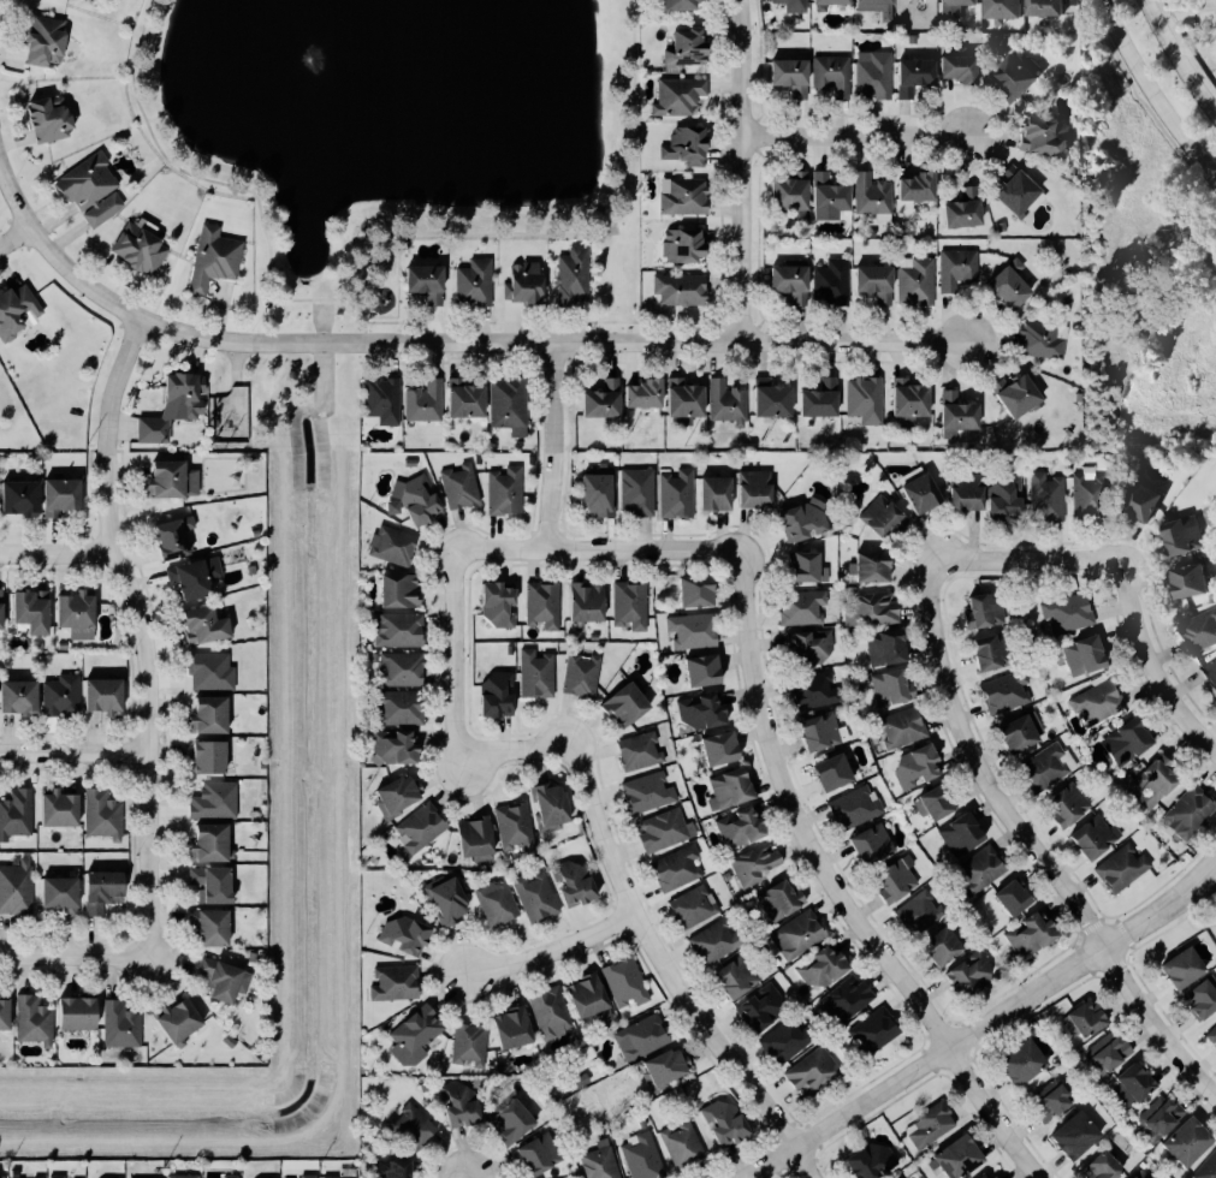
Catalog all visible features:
building: (836, 2)
building: (879, 4)
building: (797, 5)
building: (678, 6)
building: (957, 7)
building: (1048, 7)
building: (1007, 8)
building: (49, 42)
building: (692, 48)
fountain: (312, 58)
road: (1178, 59)
building: (963, 69)
building: (921, 72)
building: (836, 75)
building: (1020, 75)
building: (795, 76)
building: (877, 76)
road: (1151, 96)
building: (681, 97)
road: (635, 113)
building: (53, 121)
building: (1046, 137)
road: (858, 141)
building: (689, 148)
road: (182, 169)
road: (743, 169)
building: (867, 188)
building: (920, 189)
building: (1015, 189)
building: (95, 191)
building: (795, 194)
building: (687, 198)
building: (832, 198)
building: (967, 212)
road: (611, 225)
building: (1002, 227)
road: (453, 232)
road: (12, 238)
building: (687, 246)
building: (143, 250)
building: (216, 260)
building: (960, 270)
building: (576, 275)
building: (835, 280)
building: (793, 281)
building: (919, 281)
building: (879, 282)
building: (429, 285)
building: (476, 285)
building: (528, 286)
building: (1013, 287)
building: (683, 291)
road: (272, 298)
road: (310, 299)
building: (18, 311)
road: (385, 322)
road: (434, 323)
road: (450, 341)
building: (1058, 349)
building: (647, 395)
building: (1021, 397)
building: (829, 399)
building: (913, 399)
building: (776, 400)
building: (385, 401)
building: (469, 401)
building: (606, 401)
building: (690, 401)
building: (867, 401)
building: (427, 403)
building: (729, 403)
building: (511, 407)
building: (177, 409)
building: (960, 416)
road: (554, 445)
building: (479, 460)
building: (532, 460)
building: (410, 464)
building: (176, 481)
building: (462, 488)
building: (758, 490)
building: (508, 492)
building: (639, 493)
building: (931, 493)
building: (719, 495)
building: (1092, 495)
building: (600, 496)
building: (678, 496)
building: (971, 496)
building: (1051, 496)
building: (64, 498)
building: (24, 500)
building: (417, 501)
building: (1008, 501)
building: (1145, 504)
building: (884, 518)
building: (805, 523)
building: (255, 534)
building: (180, 537)
building: (396, 547)
building: (1180, 547)
road: (599, 549)
road: (55, 554)
road: (1026, 566)
building: (808, 569)
building: (877, 570)
building: (198, 578)
building: (1192, 582)
building: (402, 593)
building: (700, 594)
building: (591, 605)
building: (502, 606)
building: (545, 607)
building: (633, 607)
building: (803, 609)
building: (2, 611)
building: (987, 613)
building: (35, 614)
building: (877, 615)
building: (1082, 615)
building: (81, 617)
building: (208, 627)
building: (401, 631)
building: (1202, 631)
building: (695, 632)
road: (136, 635)
building: (812, 645)
building: (63, 647)
building: (38, 648)
building: (890, 649)
building: (991, 655)
building: (1087, 658)
road: (1153, 667)
building: (403, 671)
building: (707, 672)
building: (1211, 672)
building: (213, 673)
building: (539, 676)
building: (900, 688)
building: (583, 690)
building: (103, 696)
building: (502, 696)
building: (1006, 696)
building: (64, 697)
building: (22, 700)
building: (1101, 704)
building: (404, 709)
building: (819, 713)
building: (704, 714)
building: (213, 718)
building: (906, 730)
building: (1131, 743)
building: (399, 749)
building: (724, 750)
building: (642, 752)
road: (72, 754)
building: (1037, 756)
building: (213, 758)
building: (919, 767)
building: (831, 774)
building: (1169, 781)
building: (734, 790)
building: (651, 793)
building: (403, 796)
building: (216, 802)
building: (941, 805)
building: (856, 810)
building: (554, 811)
building: (1192, 814)
building: (1073, 815)
building: (17, 816)
building: (106, 816)
road: (599, 825)
building: (517, 828)
building: (422, 829)
building: (745, 829)
building: (974, 831)
building: (666, 832)
building: (1097, 839)
building: (481, 841)
building: (213, 846)
building: (874, 846)
road: (1032, 850)
building: (991, 865)
building: (755, 867)
building: (680, 869)
building: (1123, 869)
road: (1209, 883)
building: (580, 885)
building: (898, 885)
building: (214, 886)
road: (834, 888)
building: (17, 890)
building: (105, 892)
building: (63, 894)
building: (788, 898)
building: (538, 899)
building: (1018, 900)
building: (450, 902)
building: (498, 904)
building: (695, 909)
building: (920, 915)
building: (216, 930)
building: (803, 934)
building: (409, 938)
building: (1038, 938)
building: (716, 944)
road: (553, 950)
road: (73, 957)
building: (825, 969)
building: (1187, 970)
building: (973, 975)
building: (739, 978)
building: (225, 981)
building: (397, 984)
building: (611, 990)
building: (850, 1001)
building: (1203, 1004)
building: (763, 1013)
building: (6, 1016)
building: (82, 1016)
building: (1091, 1021)
building: (180, 1022)
building: (536, 1022)
building: (36, 1023)
building: (123, 1027)
building: (878, 1029)
road: (983, 1029)
building: (416, 1037)
building: (1212, 1039)
building: (643, 1040)
building: (788, 1043)
building: (475, 1048)
building: (1111, 1053)
building: (1027, 1064)
building: (669, 1069)
building: (813, 1072)
building: (1139, 1083)
building: (487, 1114)
building: (1098, 1117)
building: (1165, 1117)
building: (728, 1123)
building: (416, 1125)
building: (935, 1126)
building: (1080, 1136)
building: (1192, 1143)
building: (682, 1144)
building: (542, 1155)
building: (645, 1158)
building: (962, 1158)
building: (874, 1161)
building: (600, 1164)
building: (1110, 1166)
building: (396, 1170)
building: (1208, 1170)
building: (2, 1174)
building: (995, 1176)
building: (1141, 1176)
building: (59, 1177)
building: (186, 1177)
building: (232, 1177)
building: (310, 1177)
building: (344, 1177)

